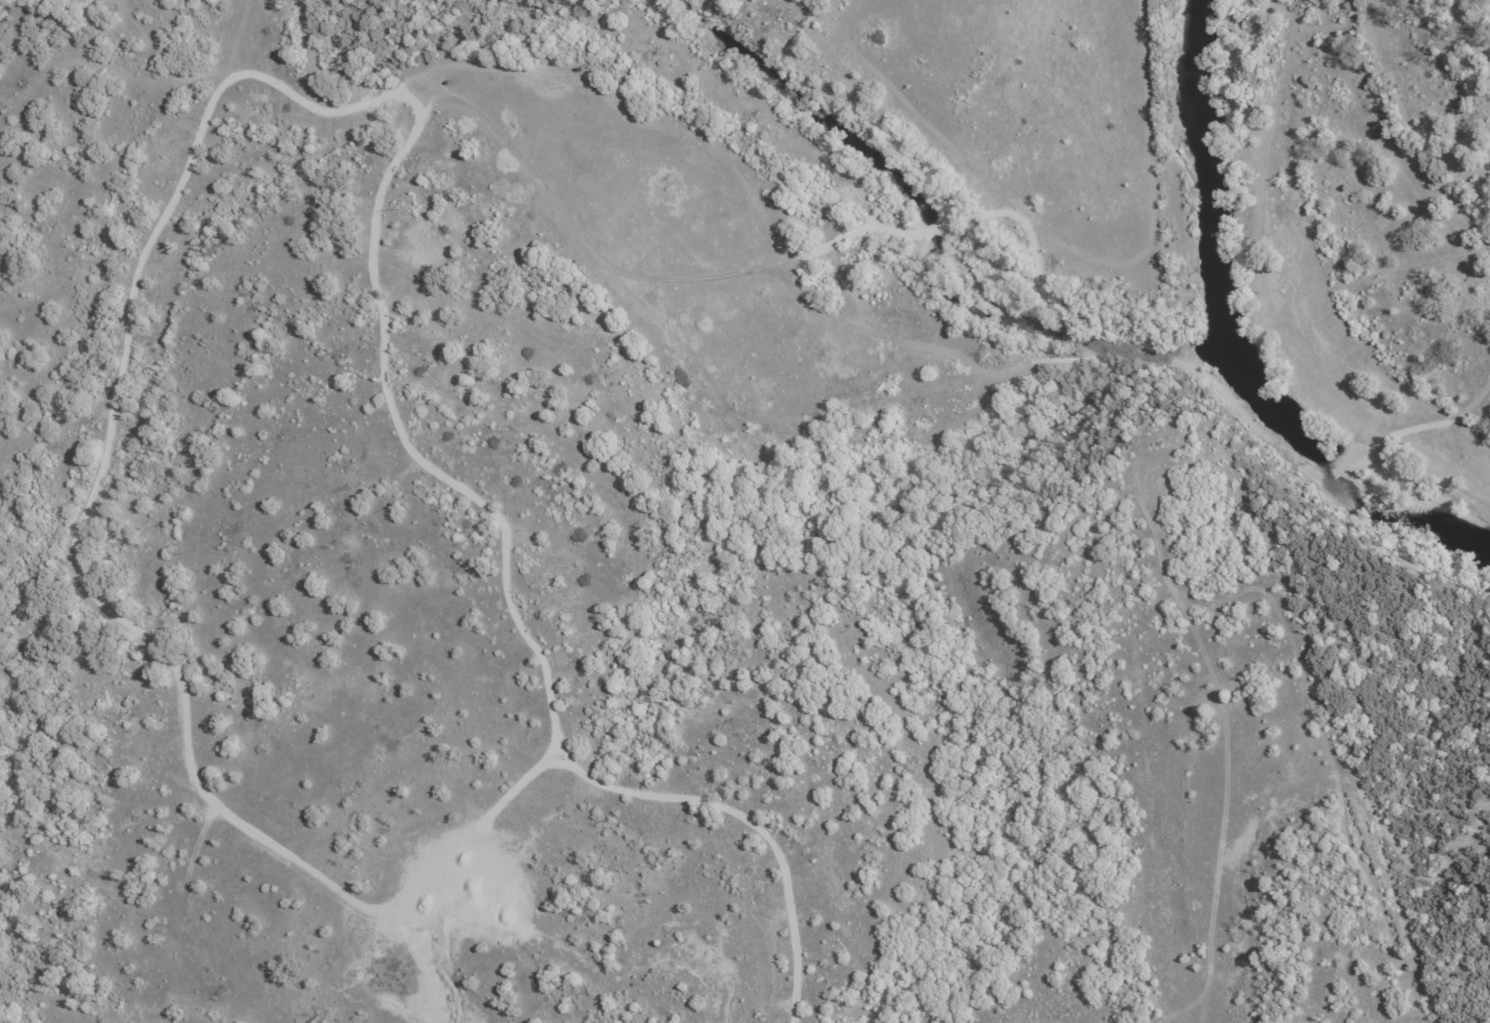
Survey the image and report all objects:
river: (1231, 336)

